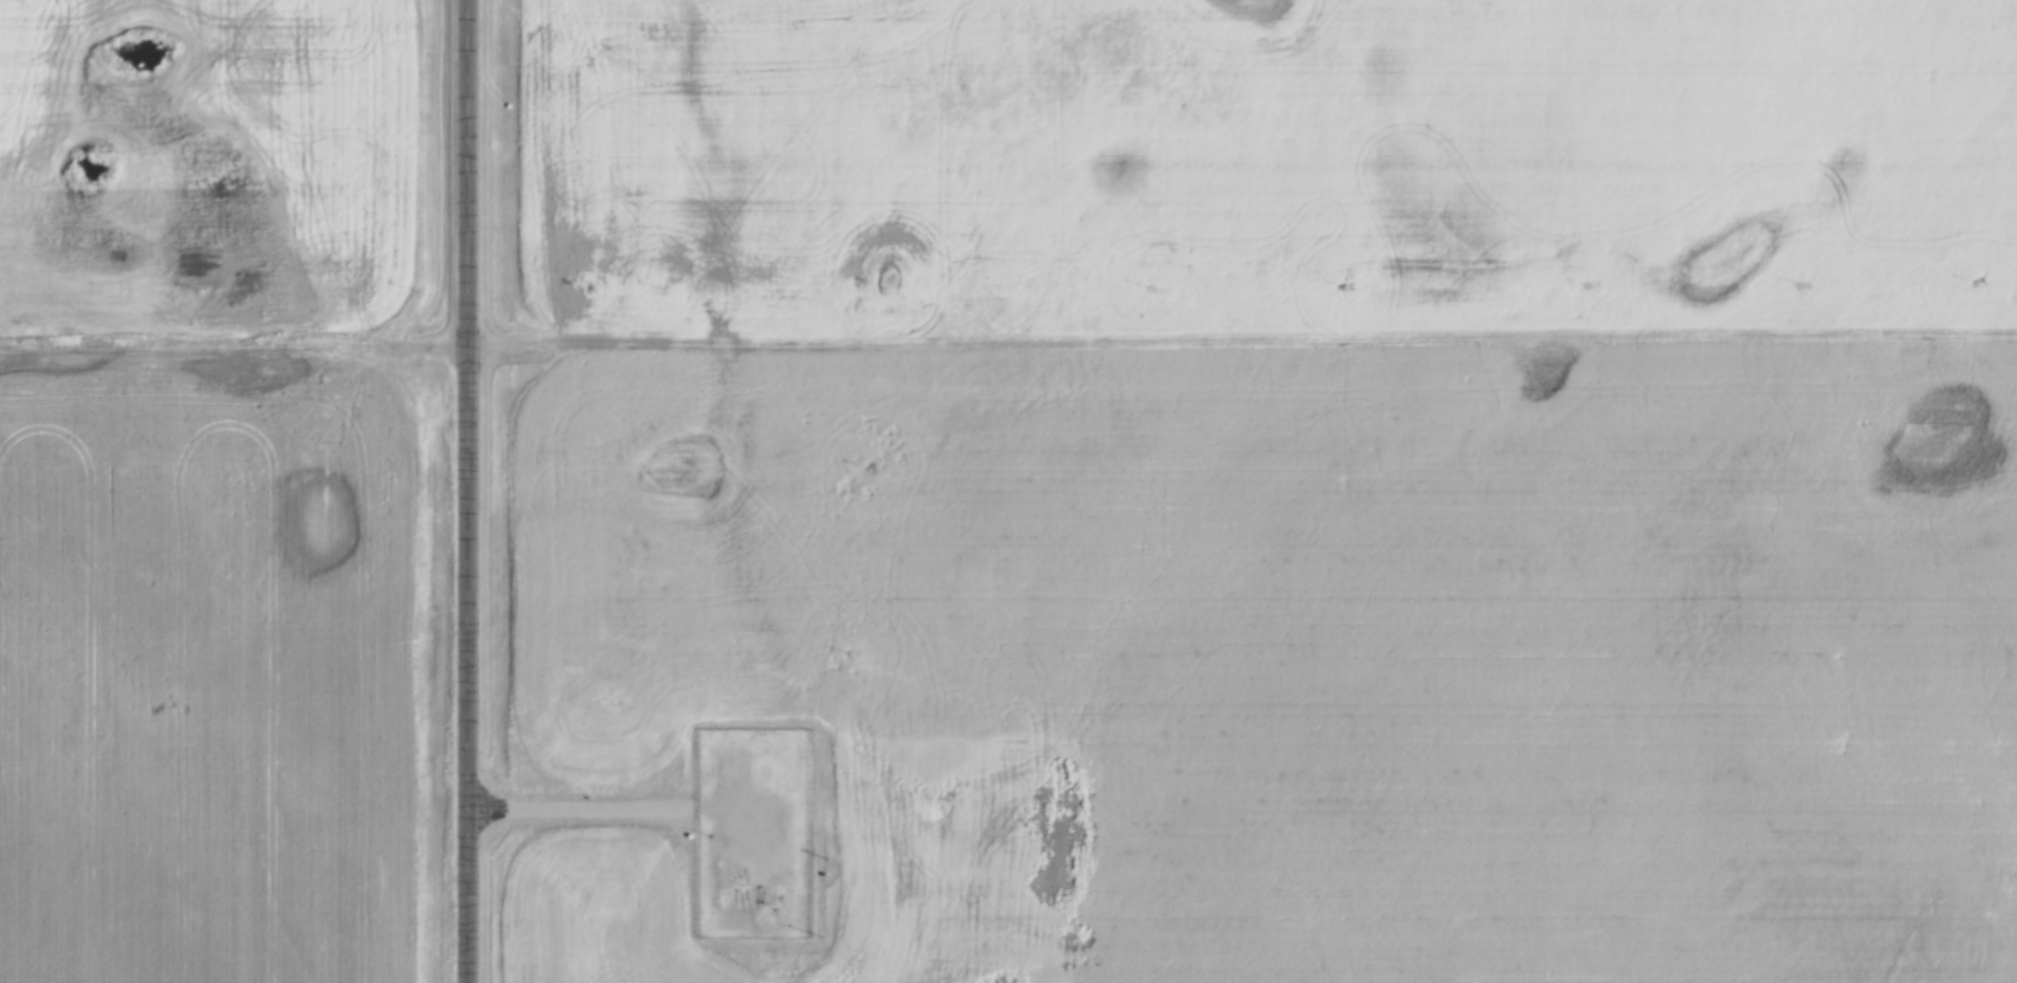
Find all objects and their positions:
road: (1007, 346)
road: (466, 491)
road: (580, 810)

